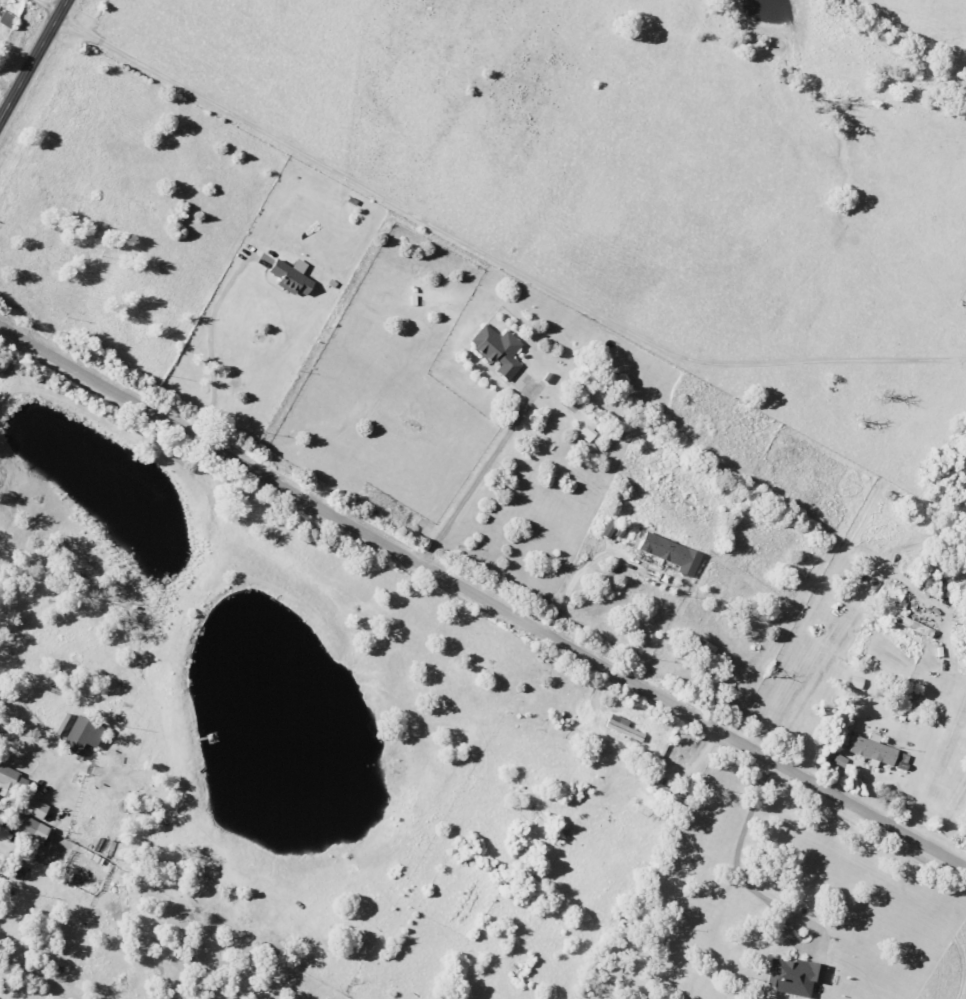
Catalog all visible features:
building: (6, 19)
road: (32, 58)
road: (493, 256)
building: (289, 275)
road: (206, 337)
building: (496, 349)
building: (586, 433)
road: (475, 472)
building: (669, 552)
road: (574, 580)
road: (481, 598)
building: (914, 626)
building: (855, 681)
building: (621, 727)
building: (81, 734)
building: (871, 749)
building: (839, 761)
building: (7, 780)
building: (33, 807)
building: (27, 826)
road: (52, 865)
road: (748, 890)
building: (792, 975)

